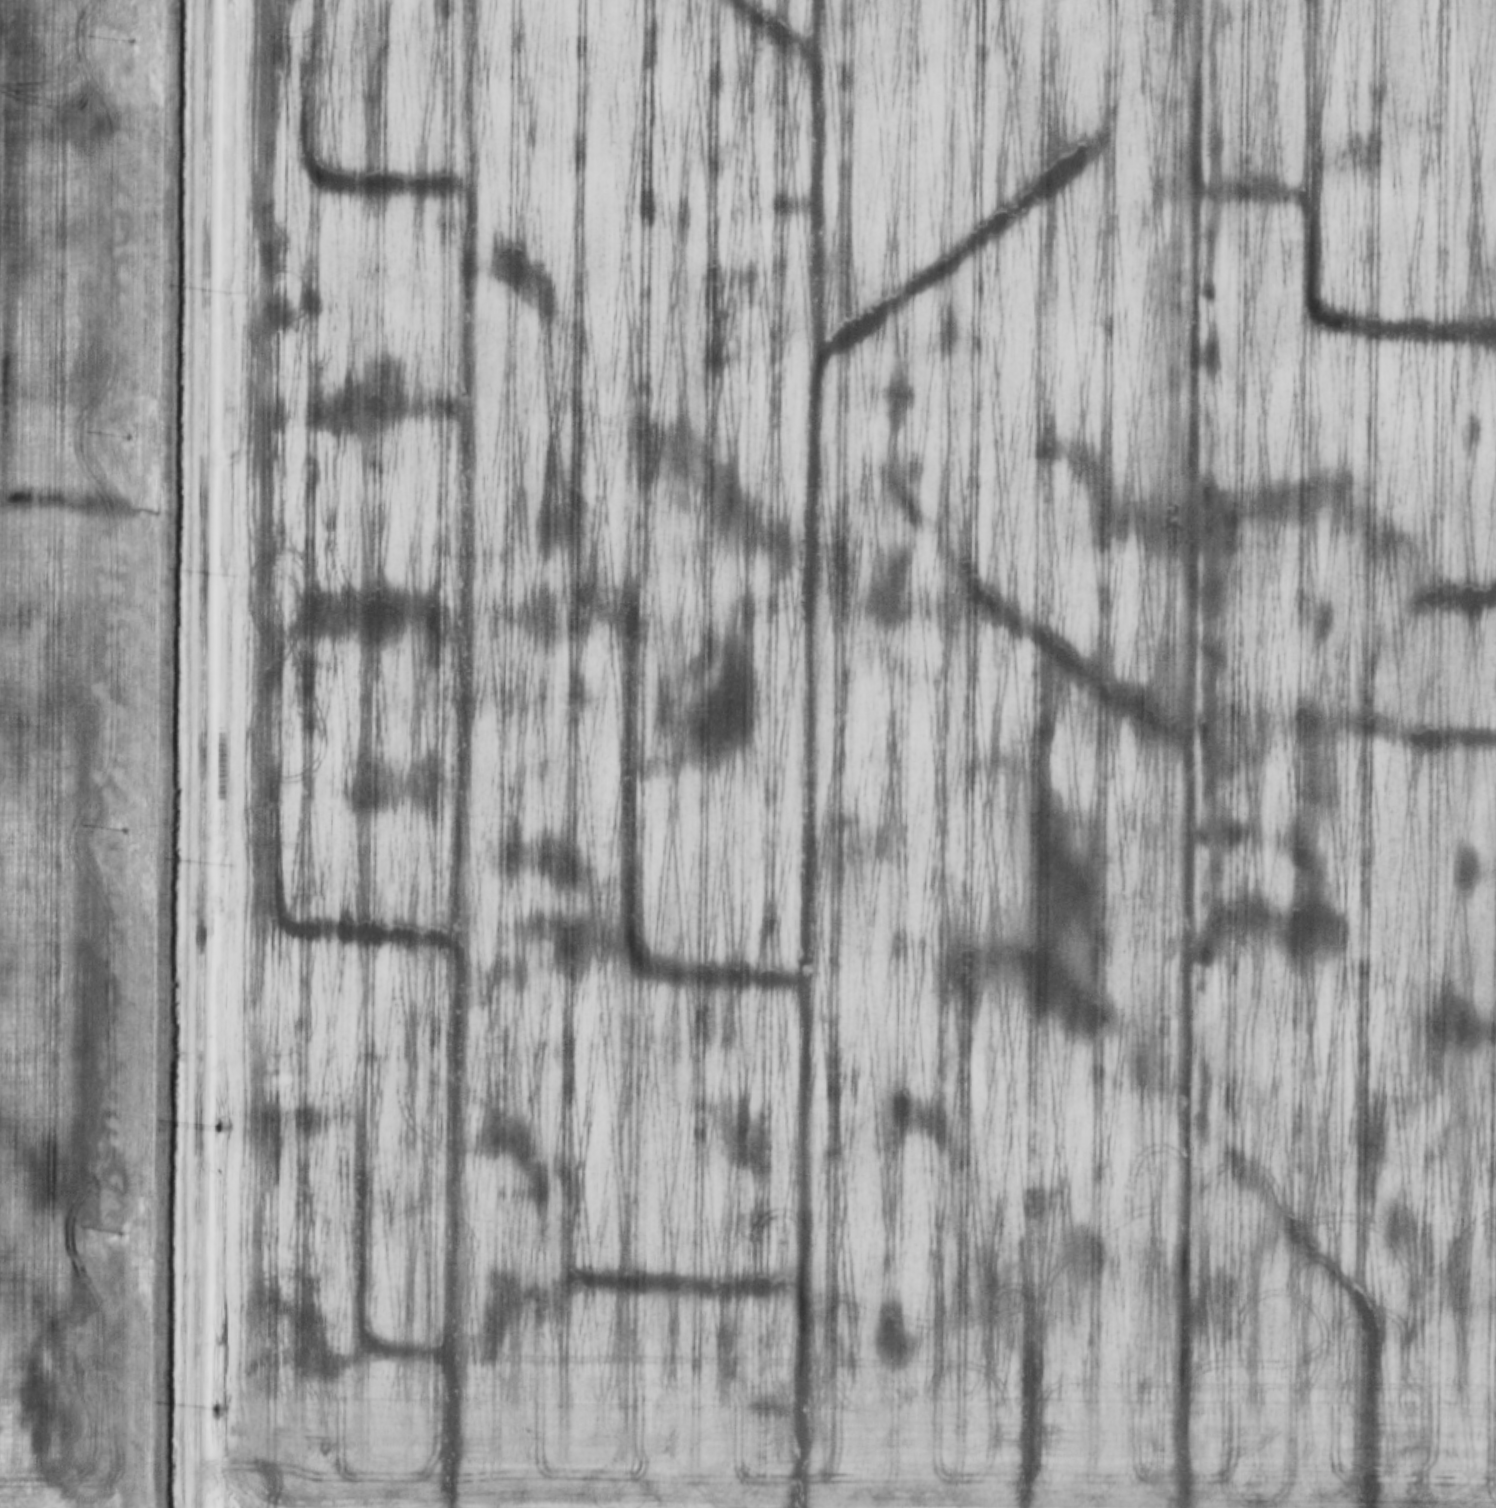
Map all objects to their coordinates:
road: (205, 754)

